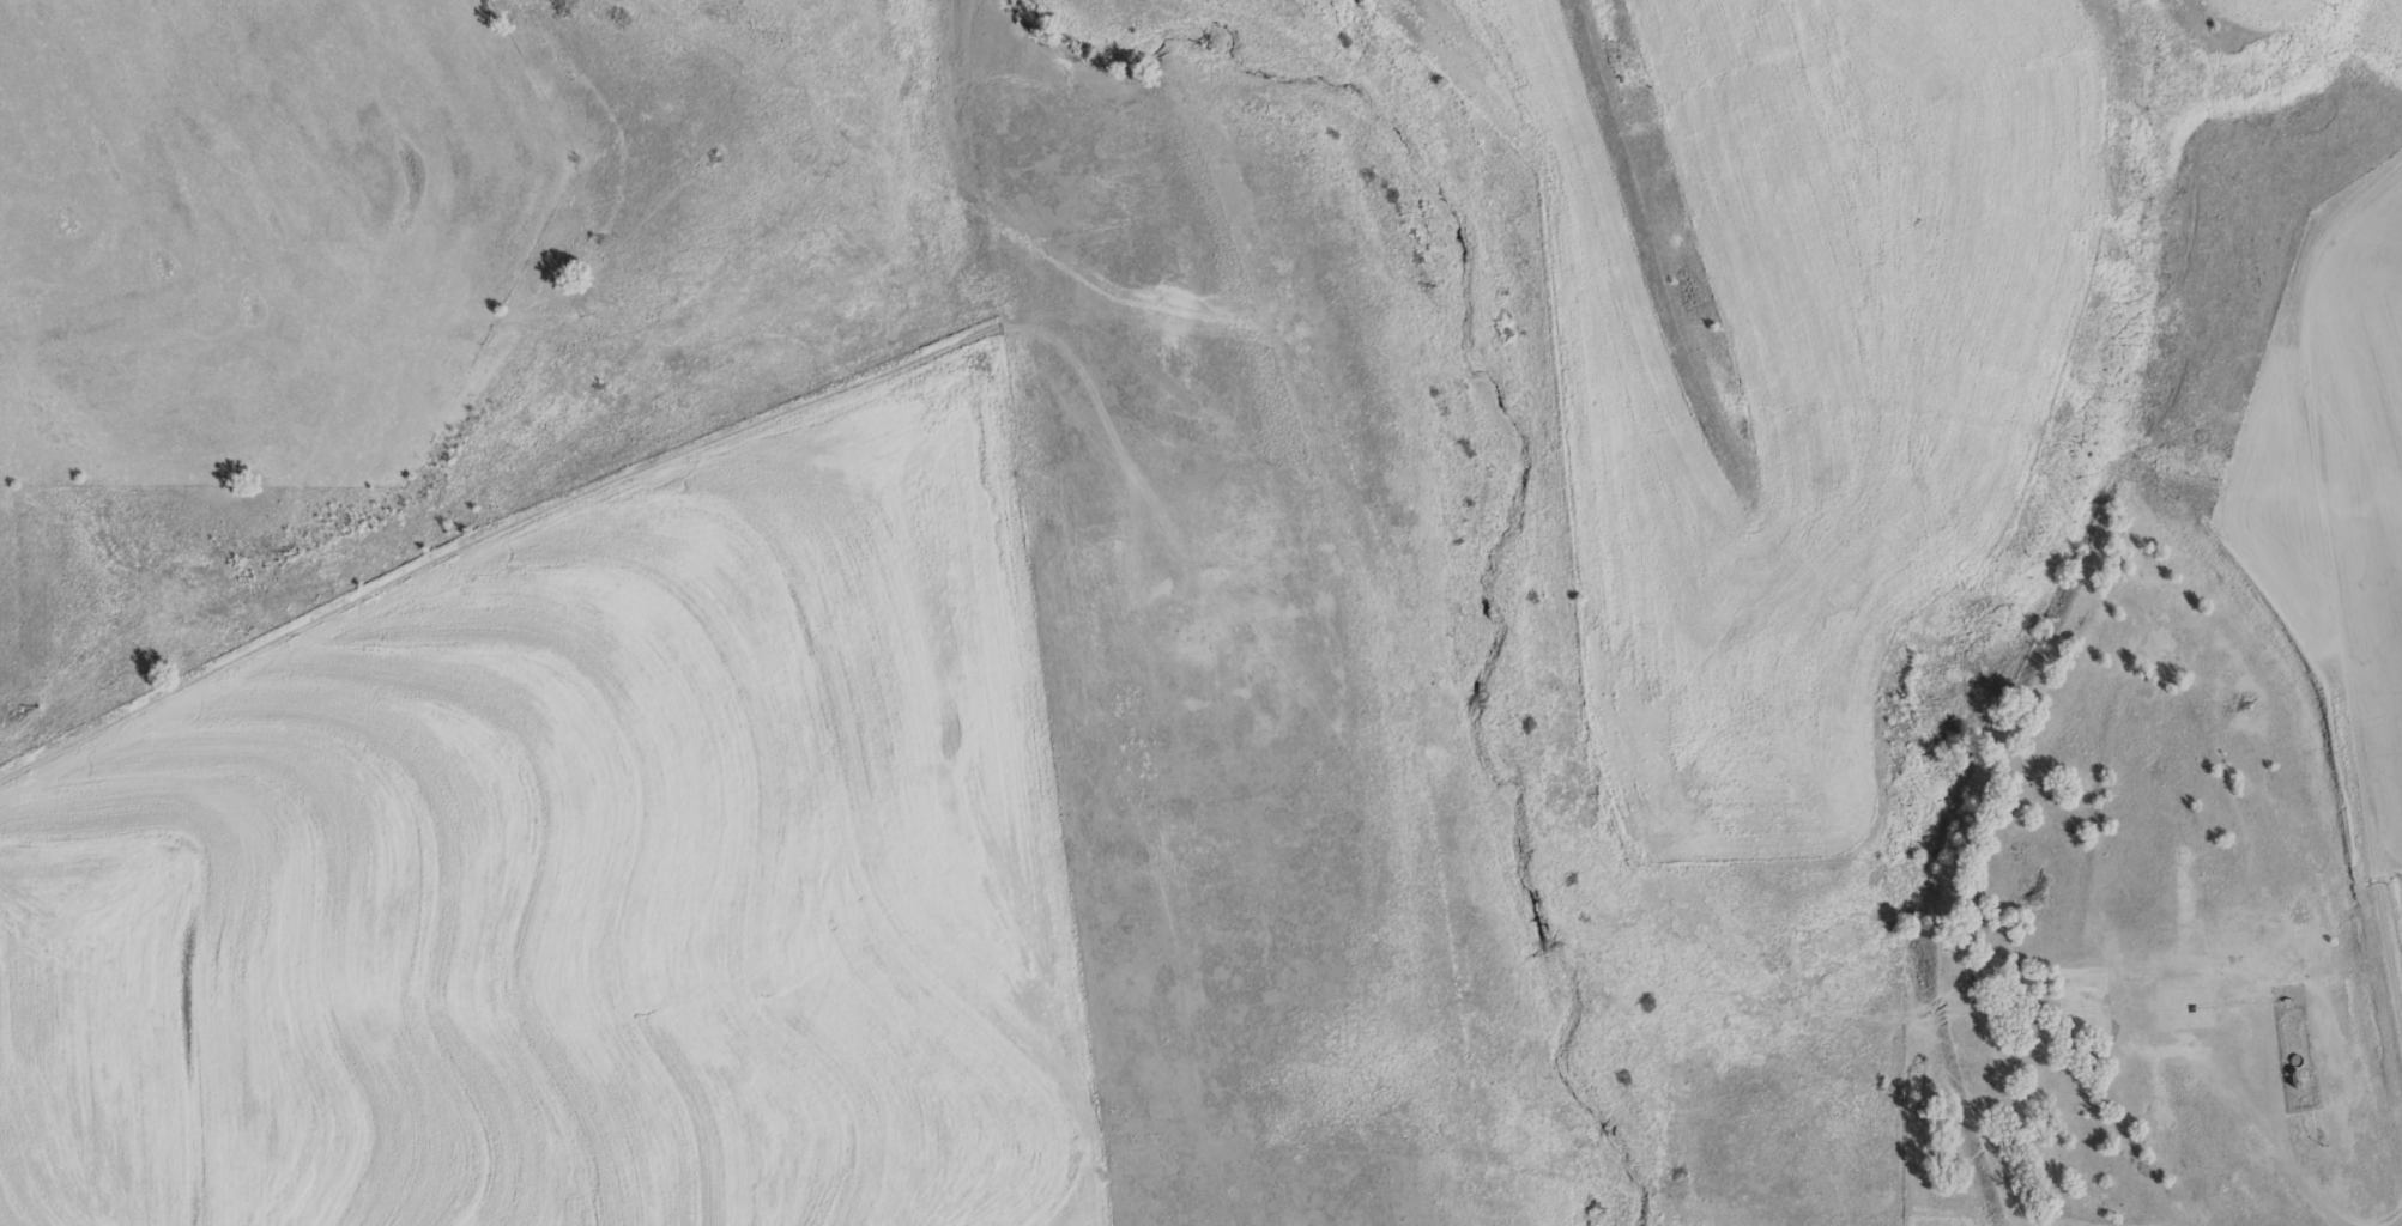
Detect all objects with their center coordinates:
building: (2185, 1009)

